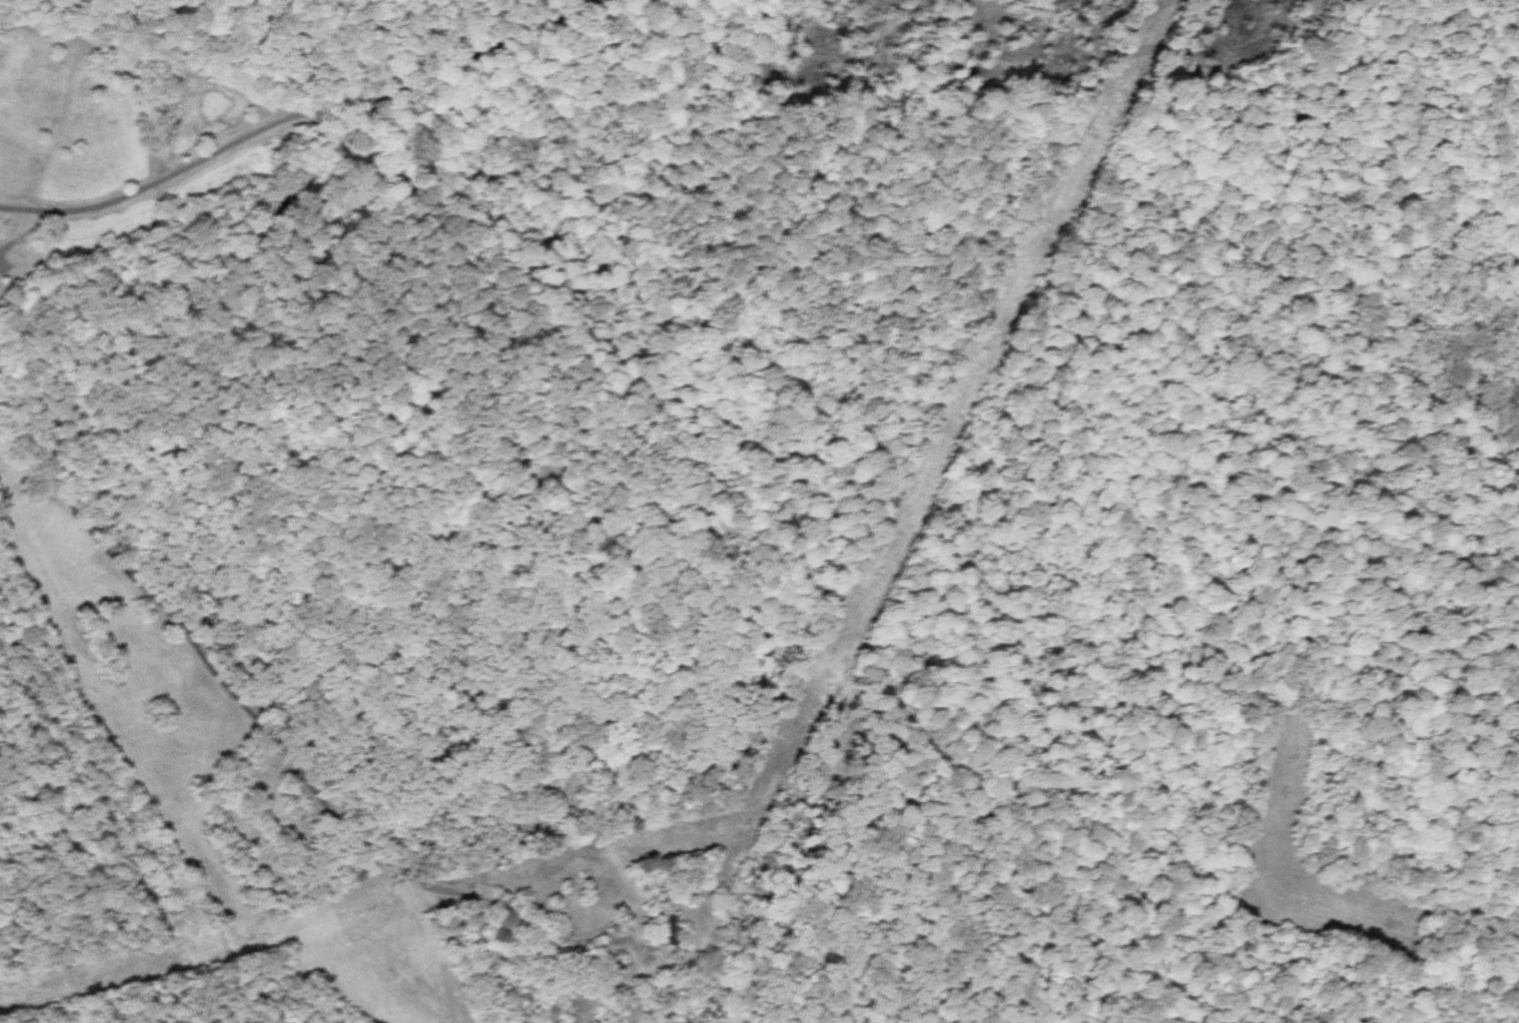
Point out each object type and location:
road: (42, 419)

